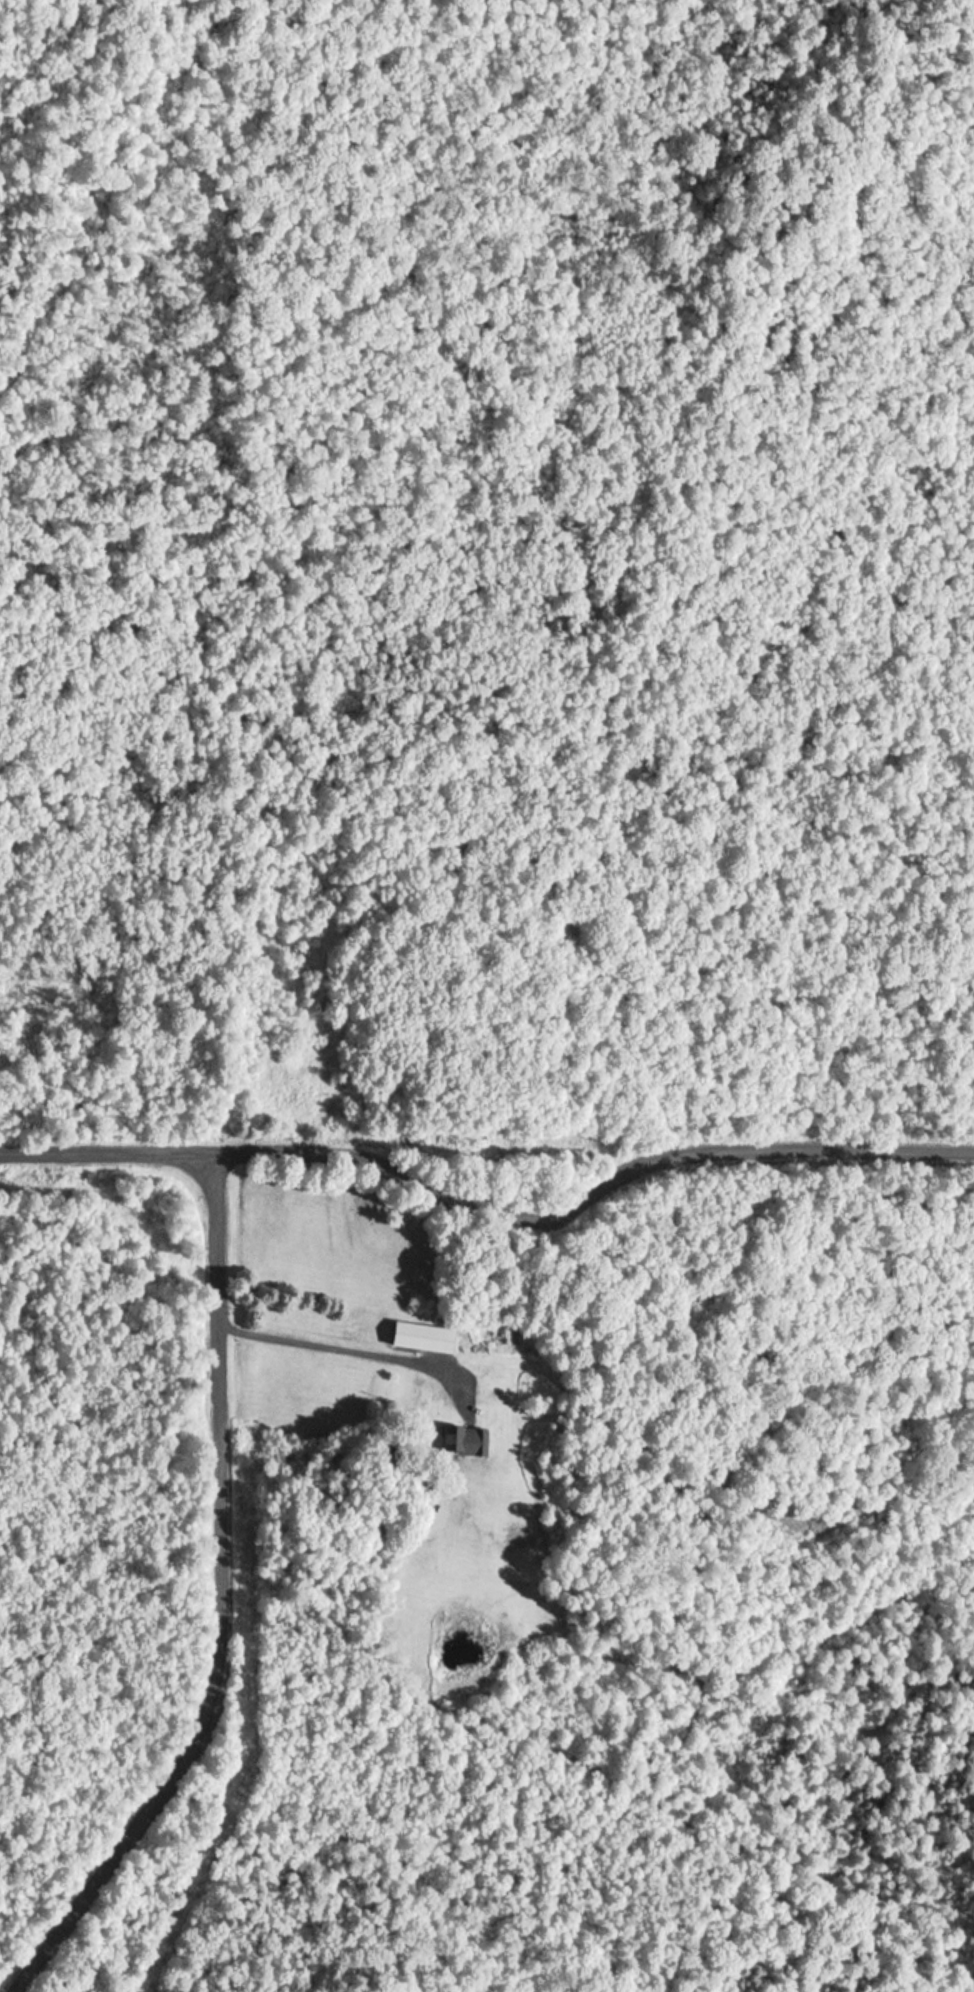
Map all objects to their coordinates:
road: (487, 1151)
building: (417, 1338)
building: (458, 1440)
road: (196, 1567)

